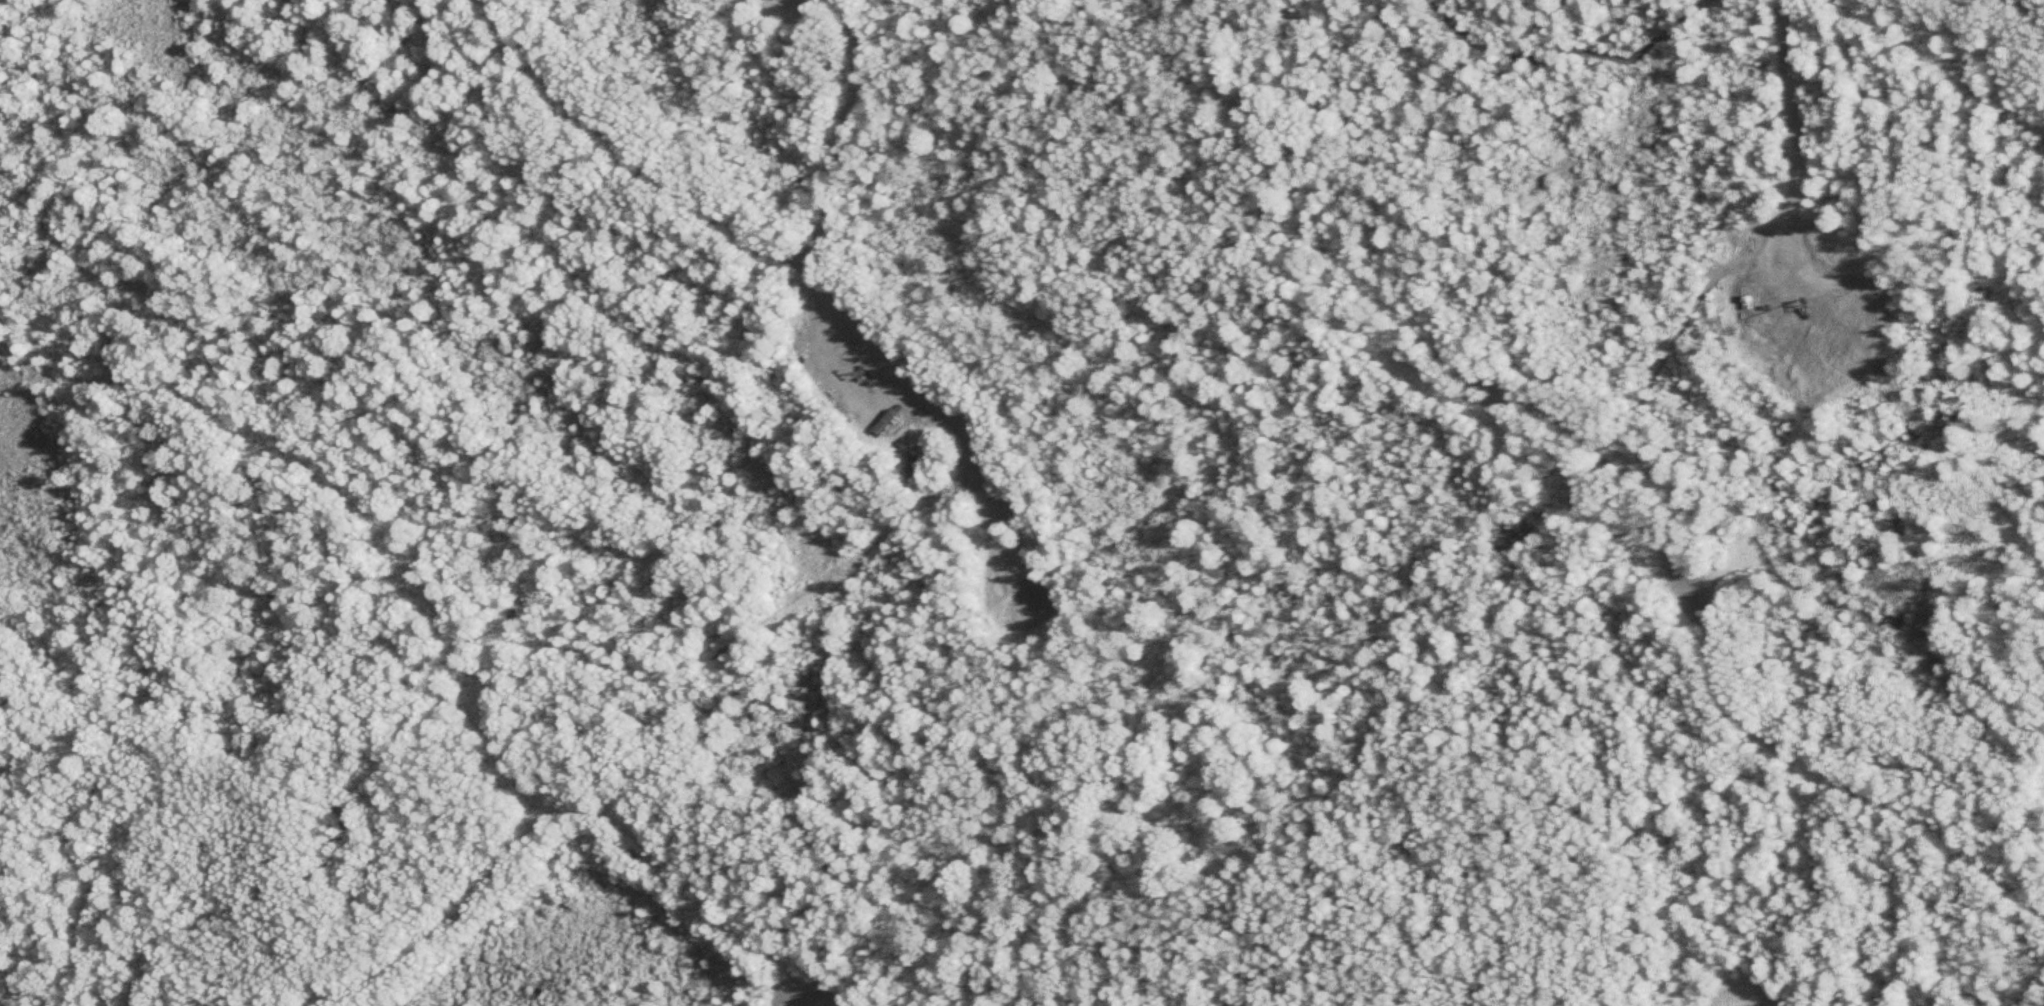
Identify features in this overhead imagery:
road: (2022, 12)
road: (1782, 238)
petroleum well: (1797, 303)
road: (559, 812)

